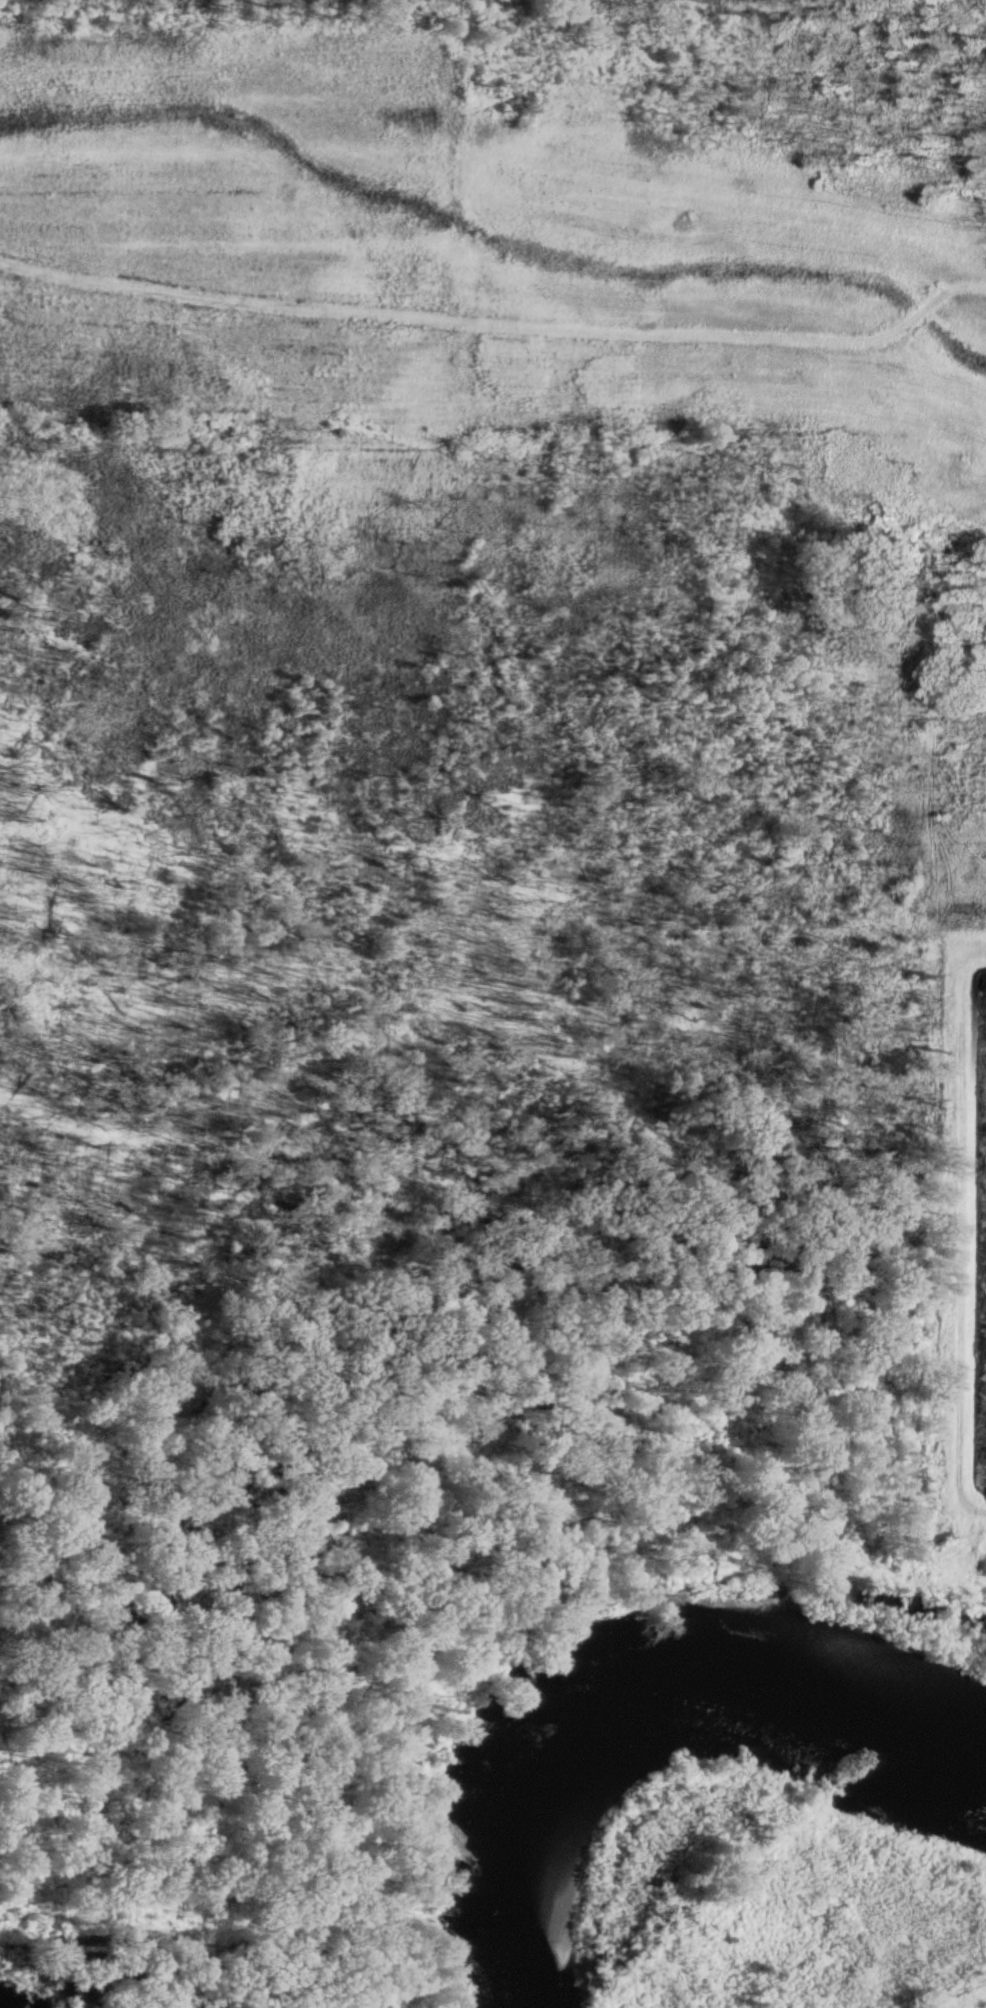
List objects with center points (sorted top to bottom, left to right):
river: (655, 1699)
road: (810, 1881)

